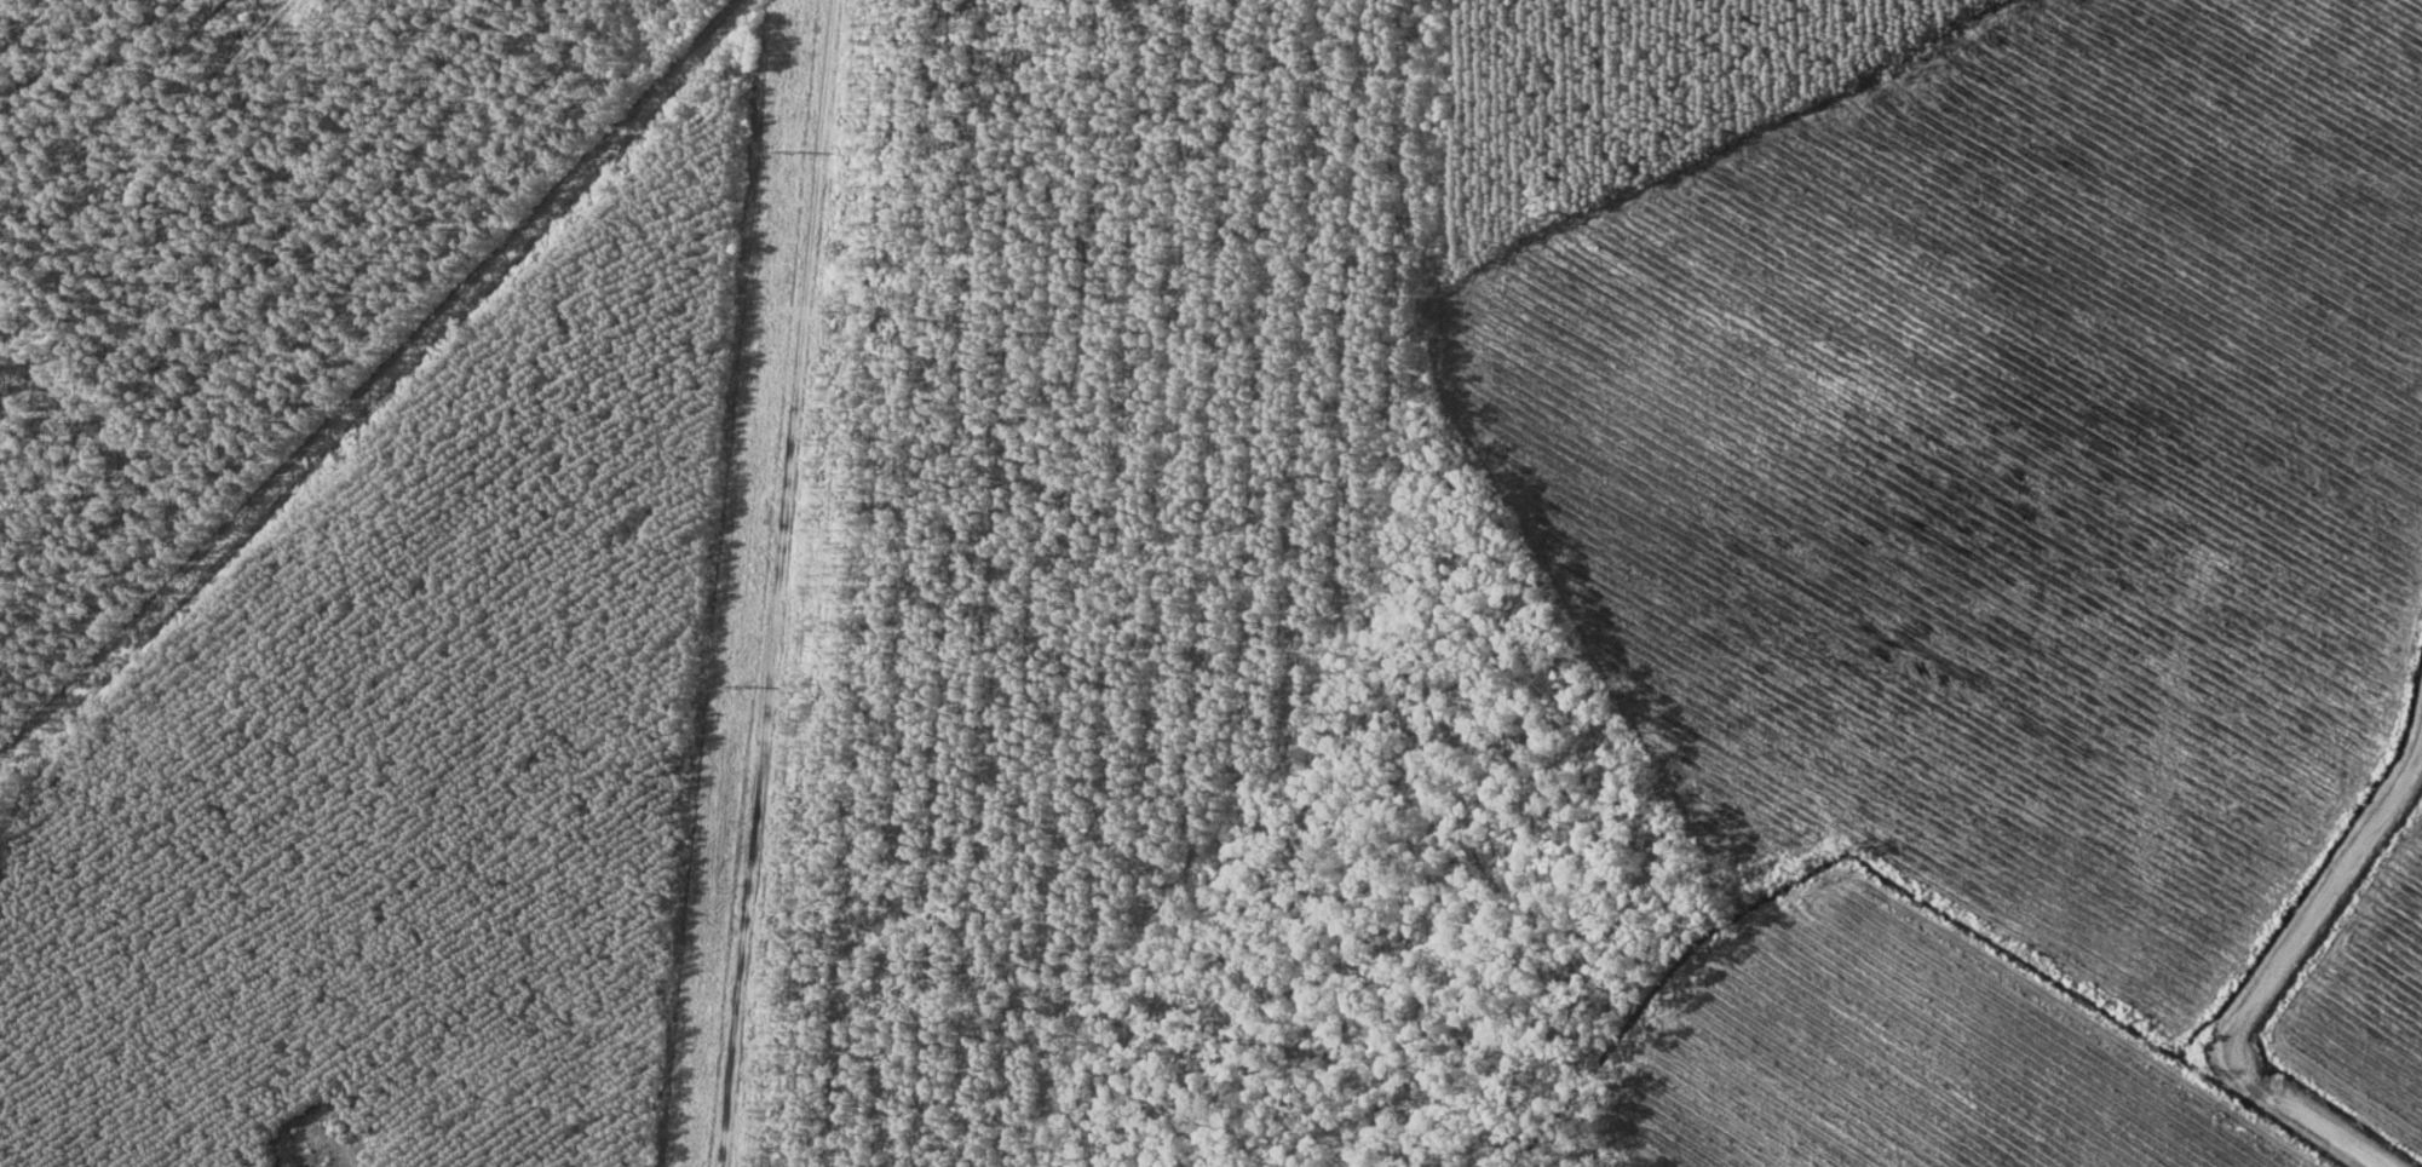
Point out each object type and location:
power tower: (798, 155)
road: (456, 284)
power tower: (746, 690)

